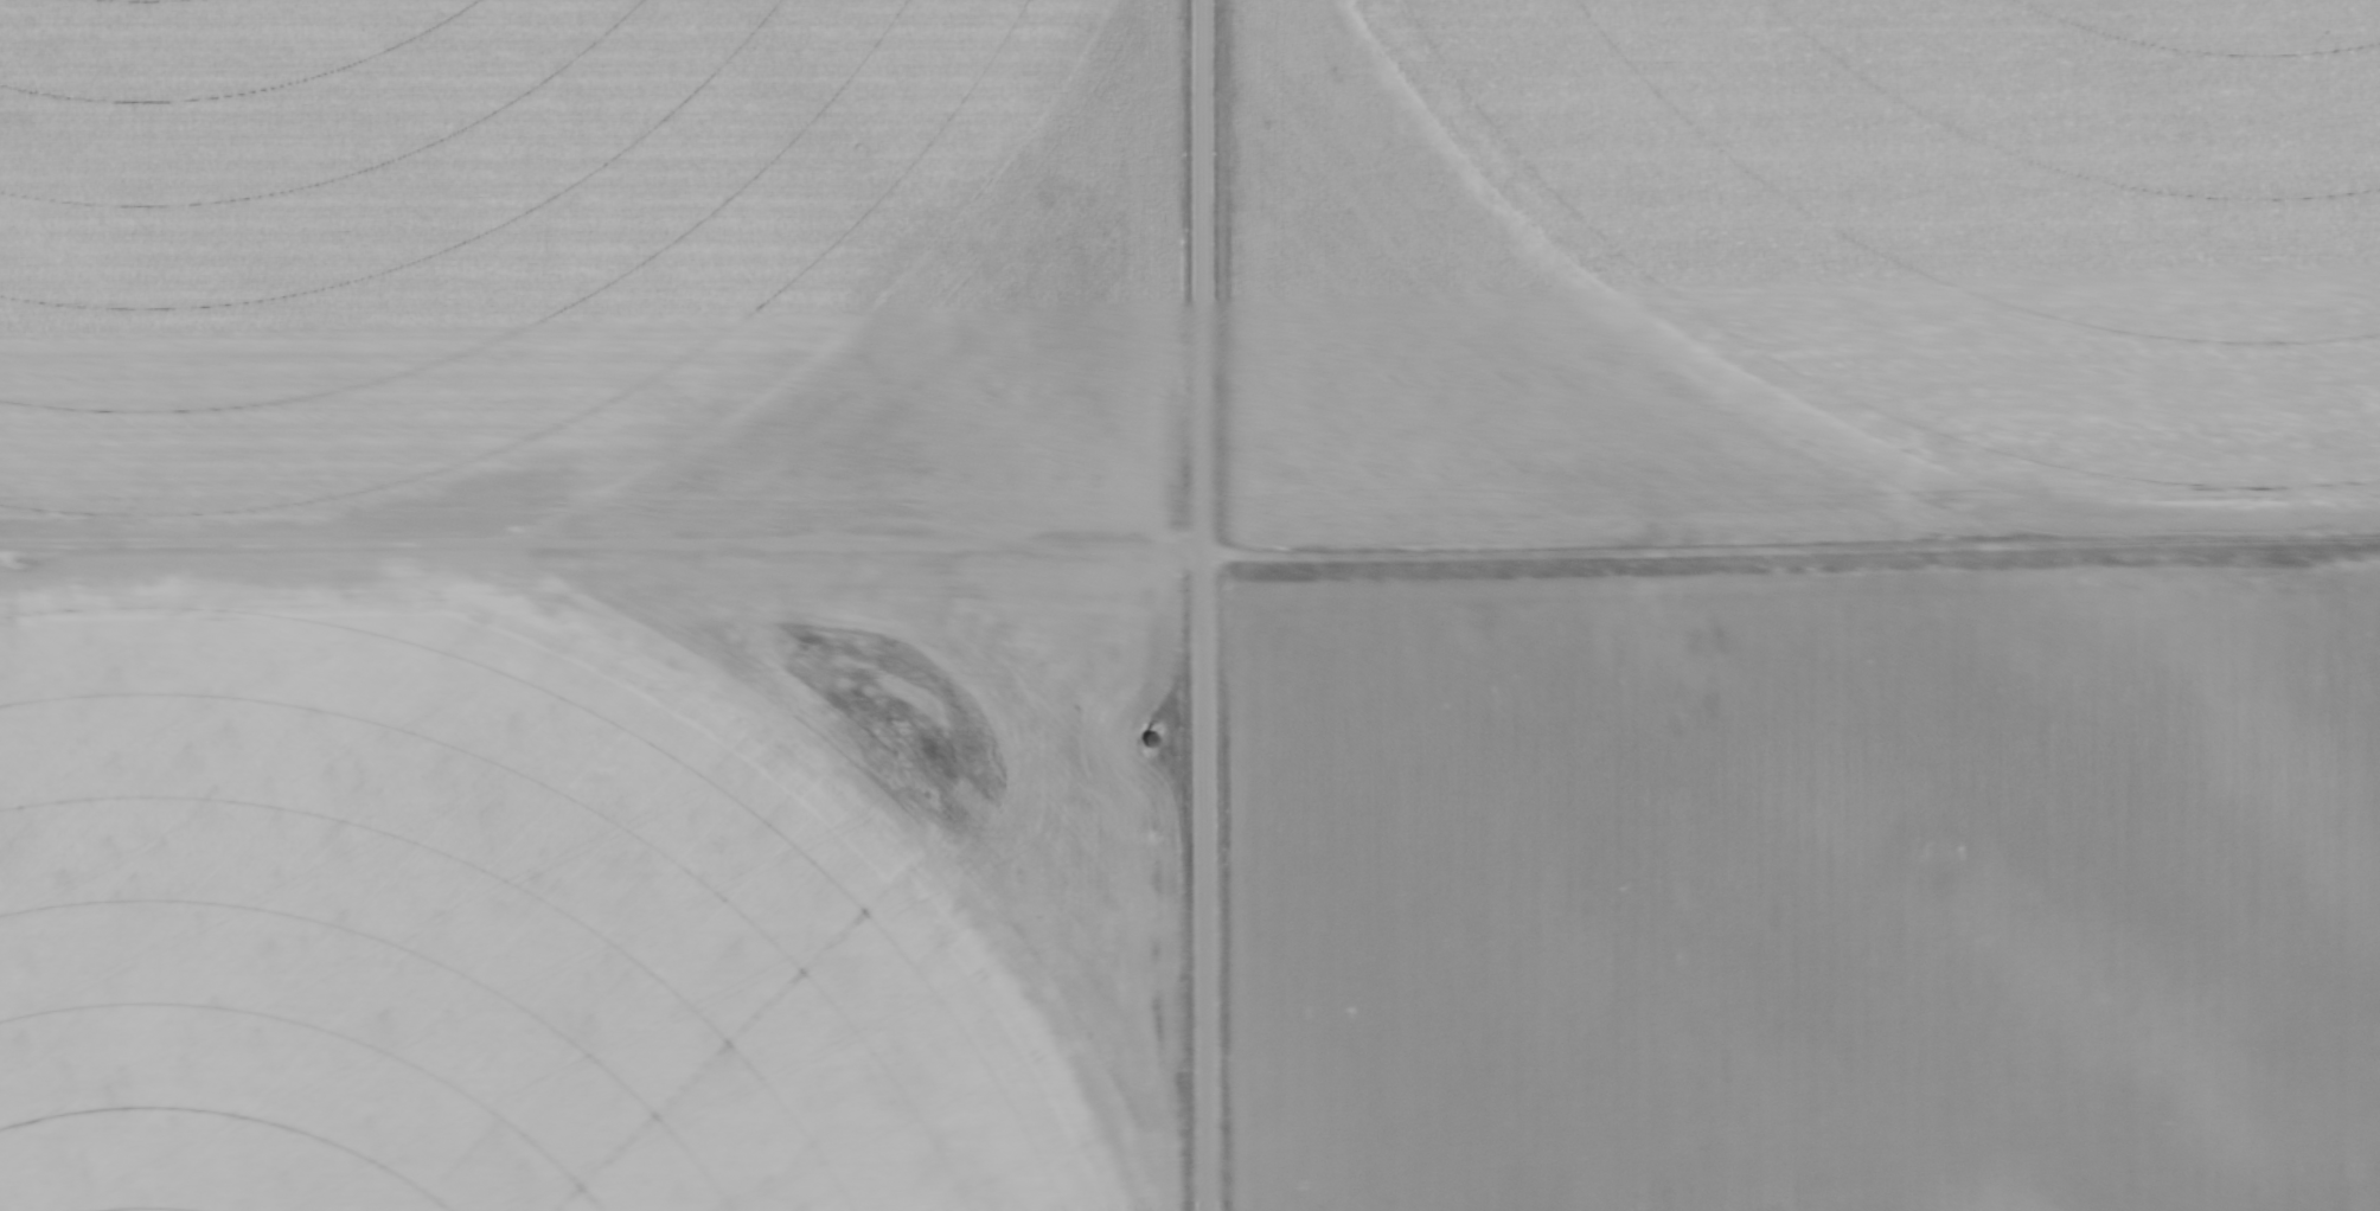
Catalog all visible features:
crop: (588, 263)
road: (1205, 276)
road: (602, 538)
building: (1149, 742)
silo: (1149, 742)
crop: (584, 882)
road: (1205, 882)
crop: (1806, 892)

